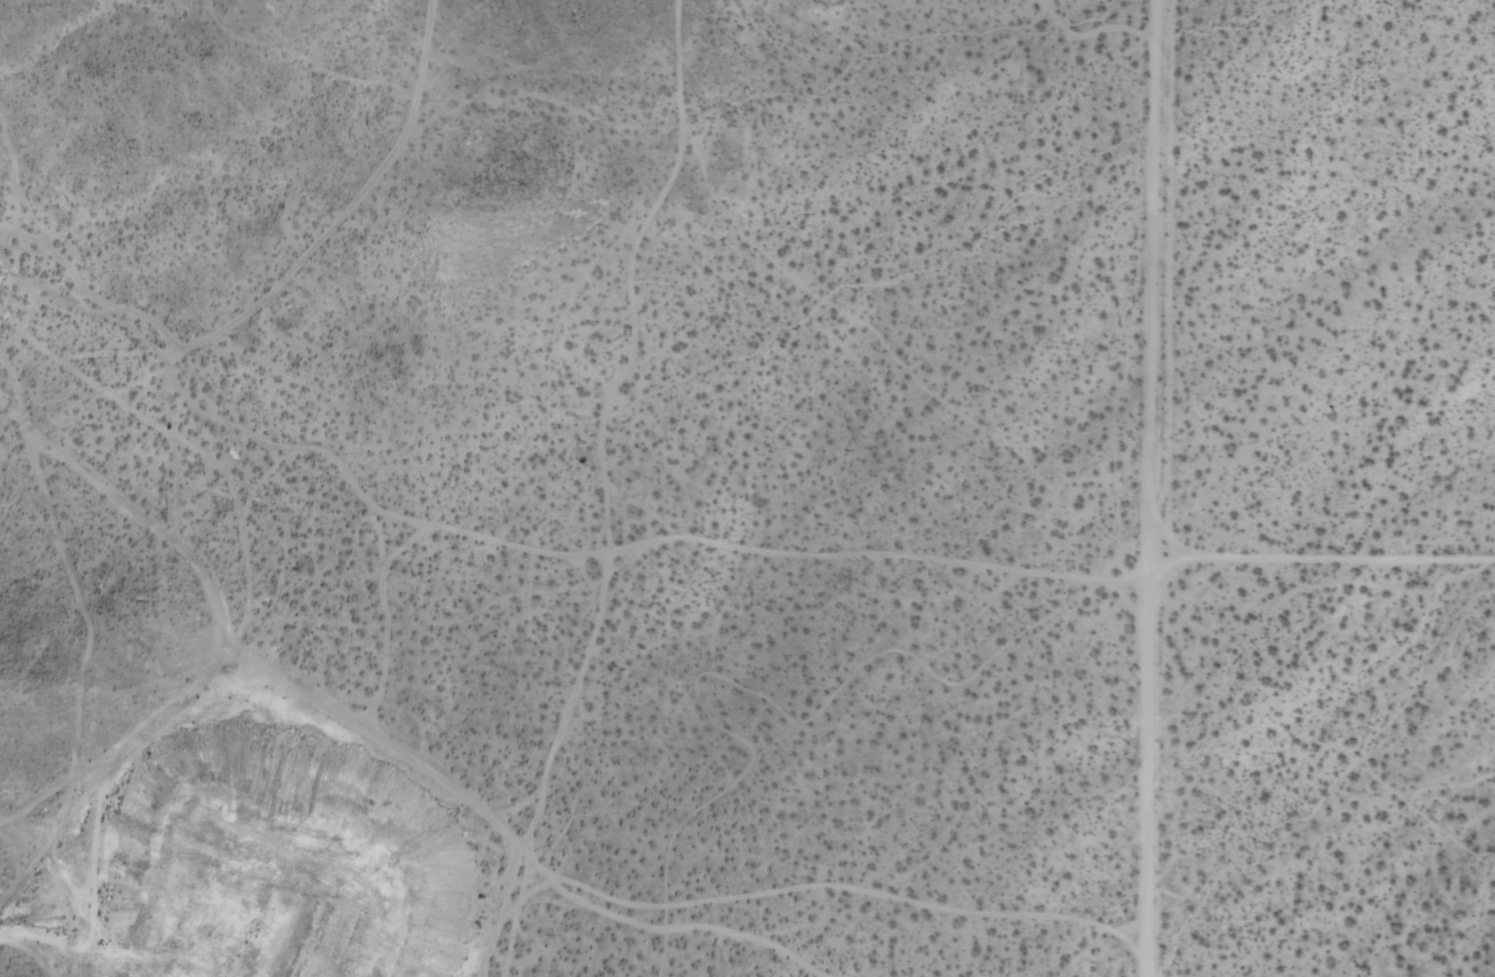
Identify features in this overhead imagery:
quarry: (313, 430)
road: (1152, 488)

